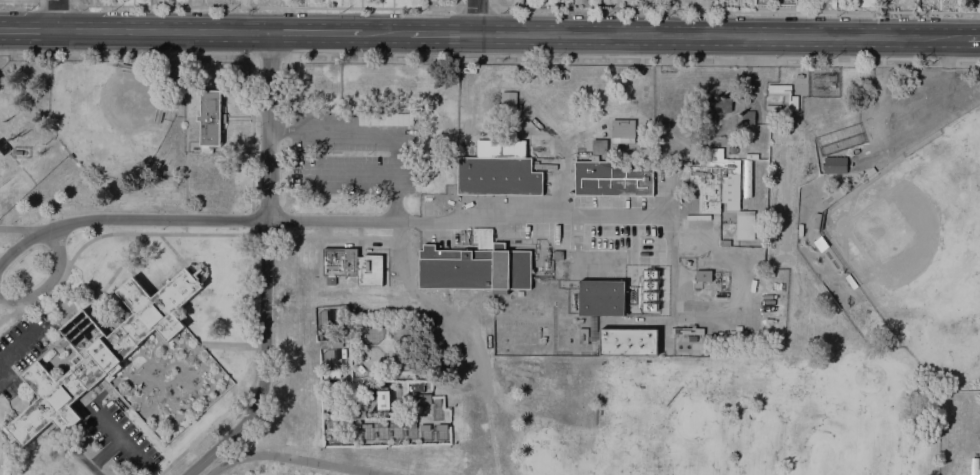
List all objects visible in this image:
road: (266, 6)
road: (732, 9)
road: (57, 15)
road: (476, 17)
road: (28, 30)
road: (164, 31)
road: (318, 32)
road: (387, 32)
road: (443, 33)
road: (721, 35)
road: (973, 36)
parking lot: (2, 60)
road: (488, 62)
building: (127, 65)
building: (469, 69)
road: (943, 89)
building: (509, 101)
building: (793, 102)
park: (114, 107)
building: (160, 115)
building: (210, 118)
building: (743, 119)
building: (623, 131)
road: (252, 146)
building: (3, 147)
building: (657, 148)
building: (732, 149)
building: (18, 152)
building: (835, 164)
building: (498, 169)
building: (868, 173)
building: (615, 174)
building: (716, 181)
road: (126, 219)
road: (341, 220)
road: (541, 220)
building: (817, 220)
building: (745, 225)
road: (24, 228)
road: (161, 233)
building: (725, 242)
building: (558, 254)
building: (476, 265)
building: (351, 267)
road: (264, 269)
building: (704, 275)
road: (50, 280)
building: (851, 281)
building: (520, 292)
building: (721, 294)
building: (602, 297)
building: (583, 335)
building: (692, 337)
building: (628, 341)
building: (331, 343)
park: (972, 343)
road: (9, 350)
building: (102, 351)
building: (389, 358)
building: (360, 368)
building: (331, 374)
building: (428, 376)
building: (389, 377)
park: (868, 377)
building: (417, 386)
building: (422, 398)
building: (383, 399)
building: (437, 401)
building: (358, 412)
park: (718, 413)
building: (435, 414)
park: (693, 420)
building: (411, 423)
building: (382, 424)
building: (397, 424)
building: (367, 425)
building: (425, 426)
building: (442, 426)
road: (4, 455)
park: (821, 457)
park: (540, 459)
track: (278, 469)

